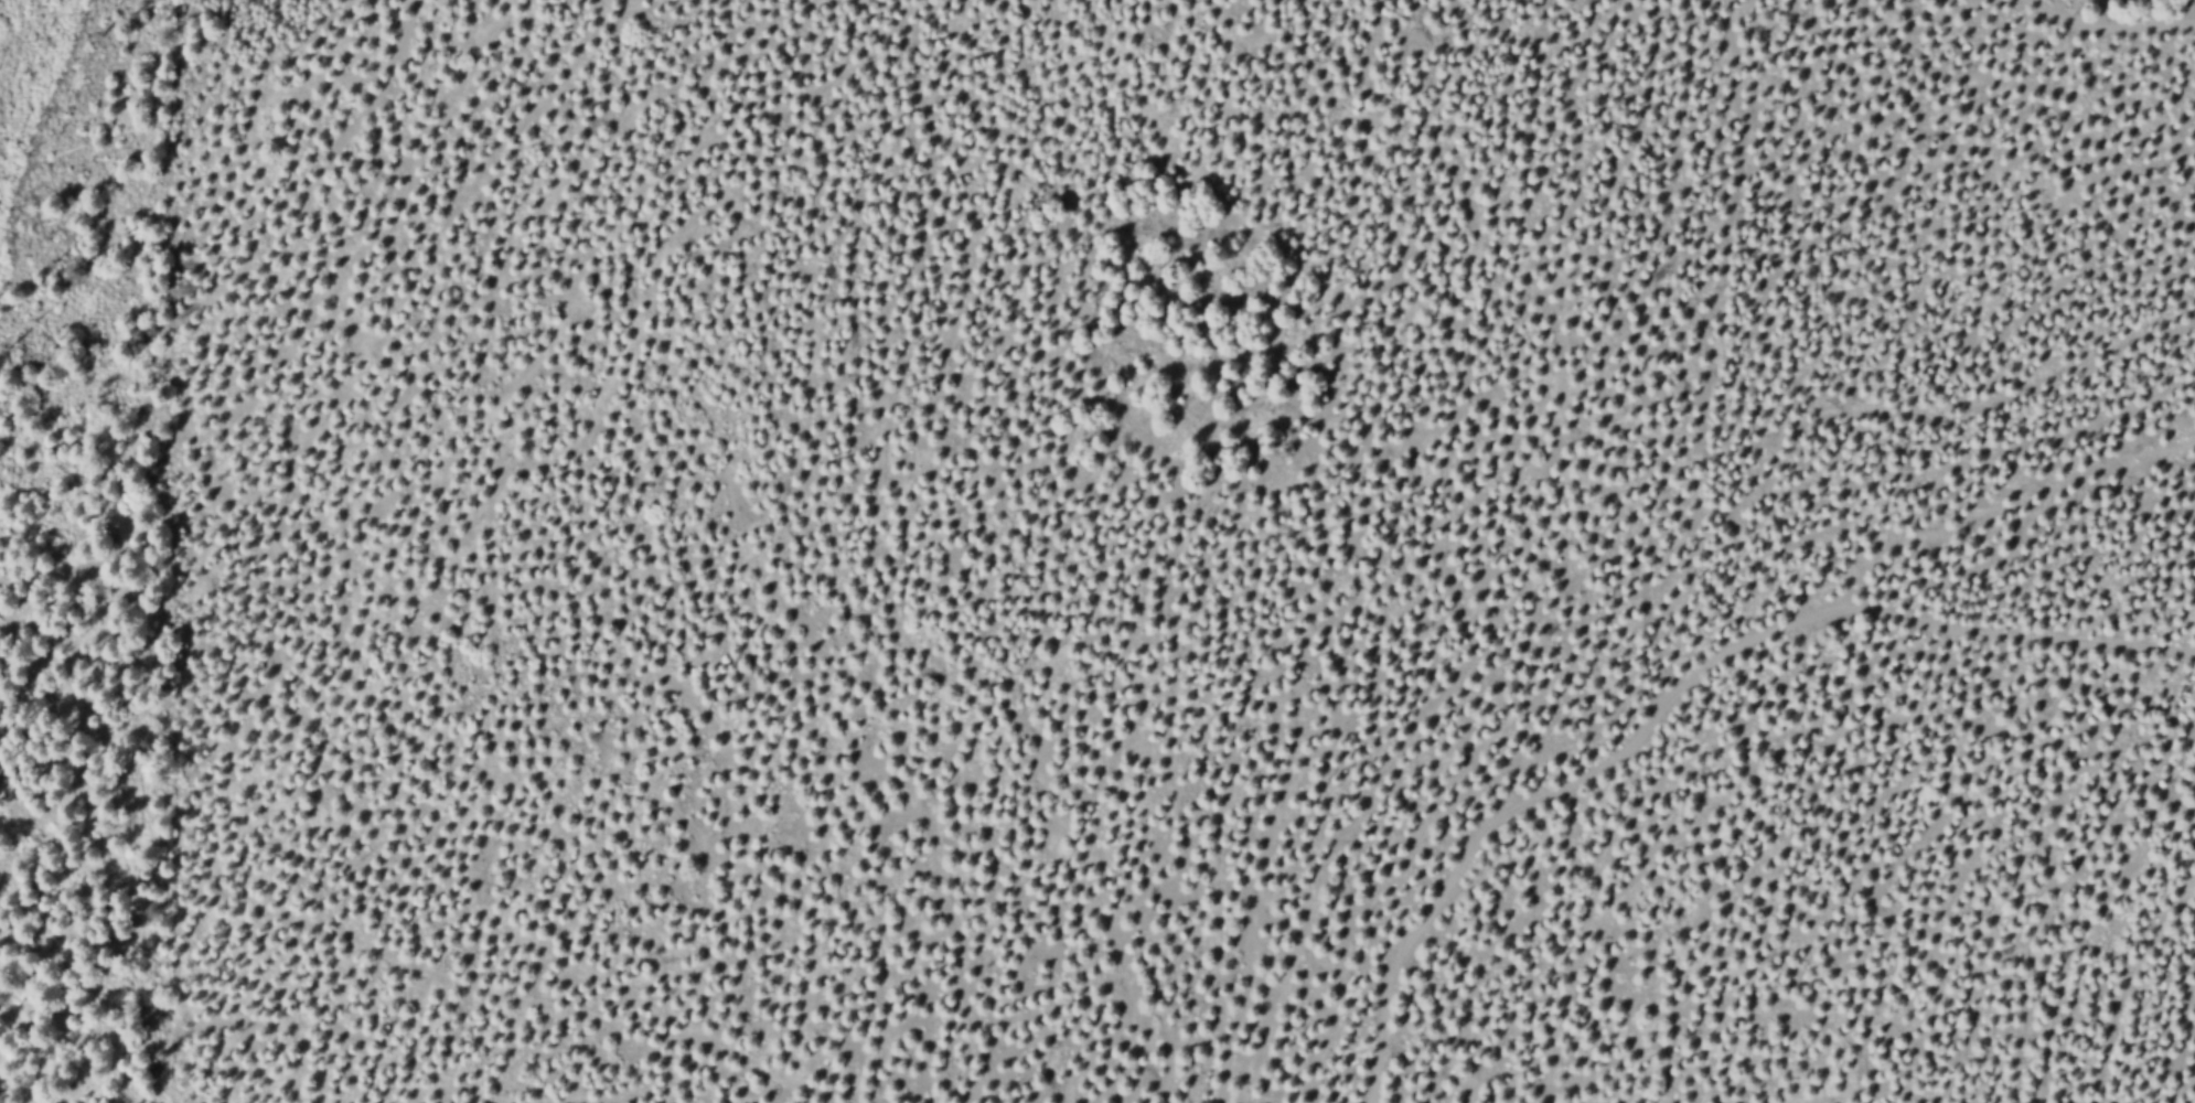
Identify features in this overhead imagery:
road: (2111, 23)

